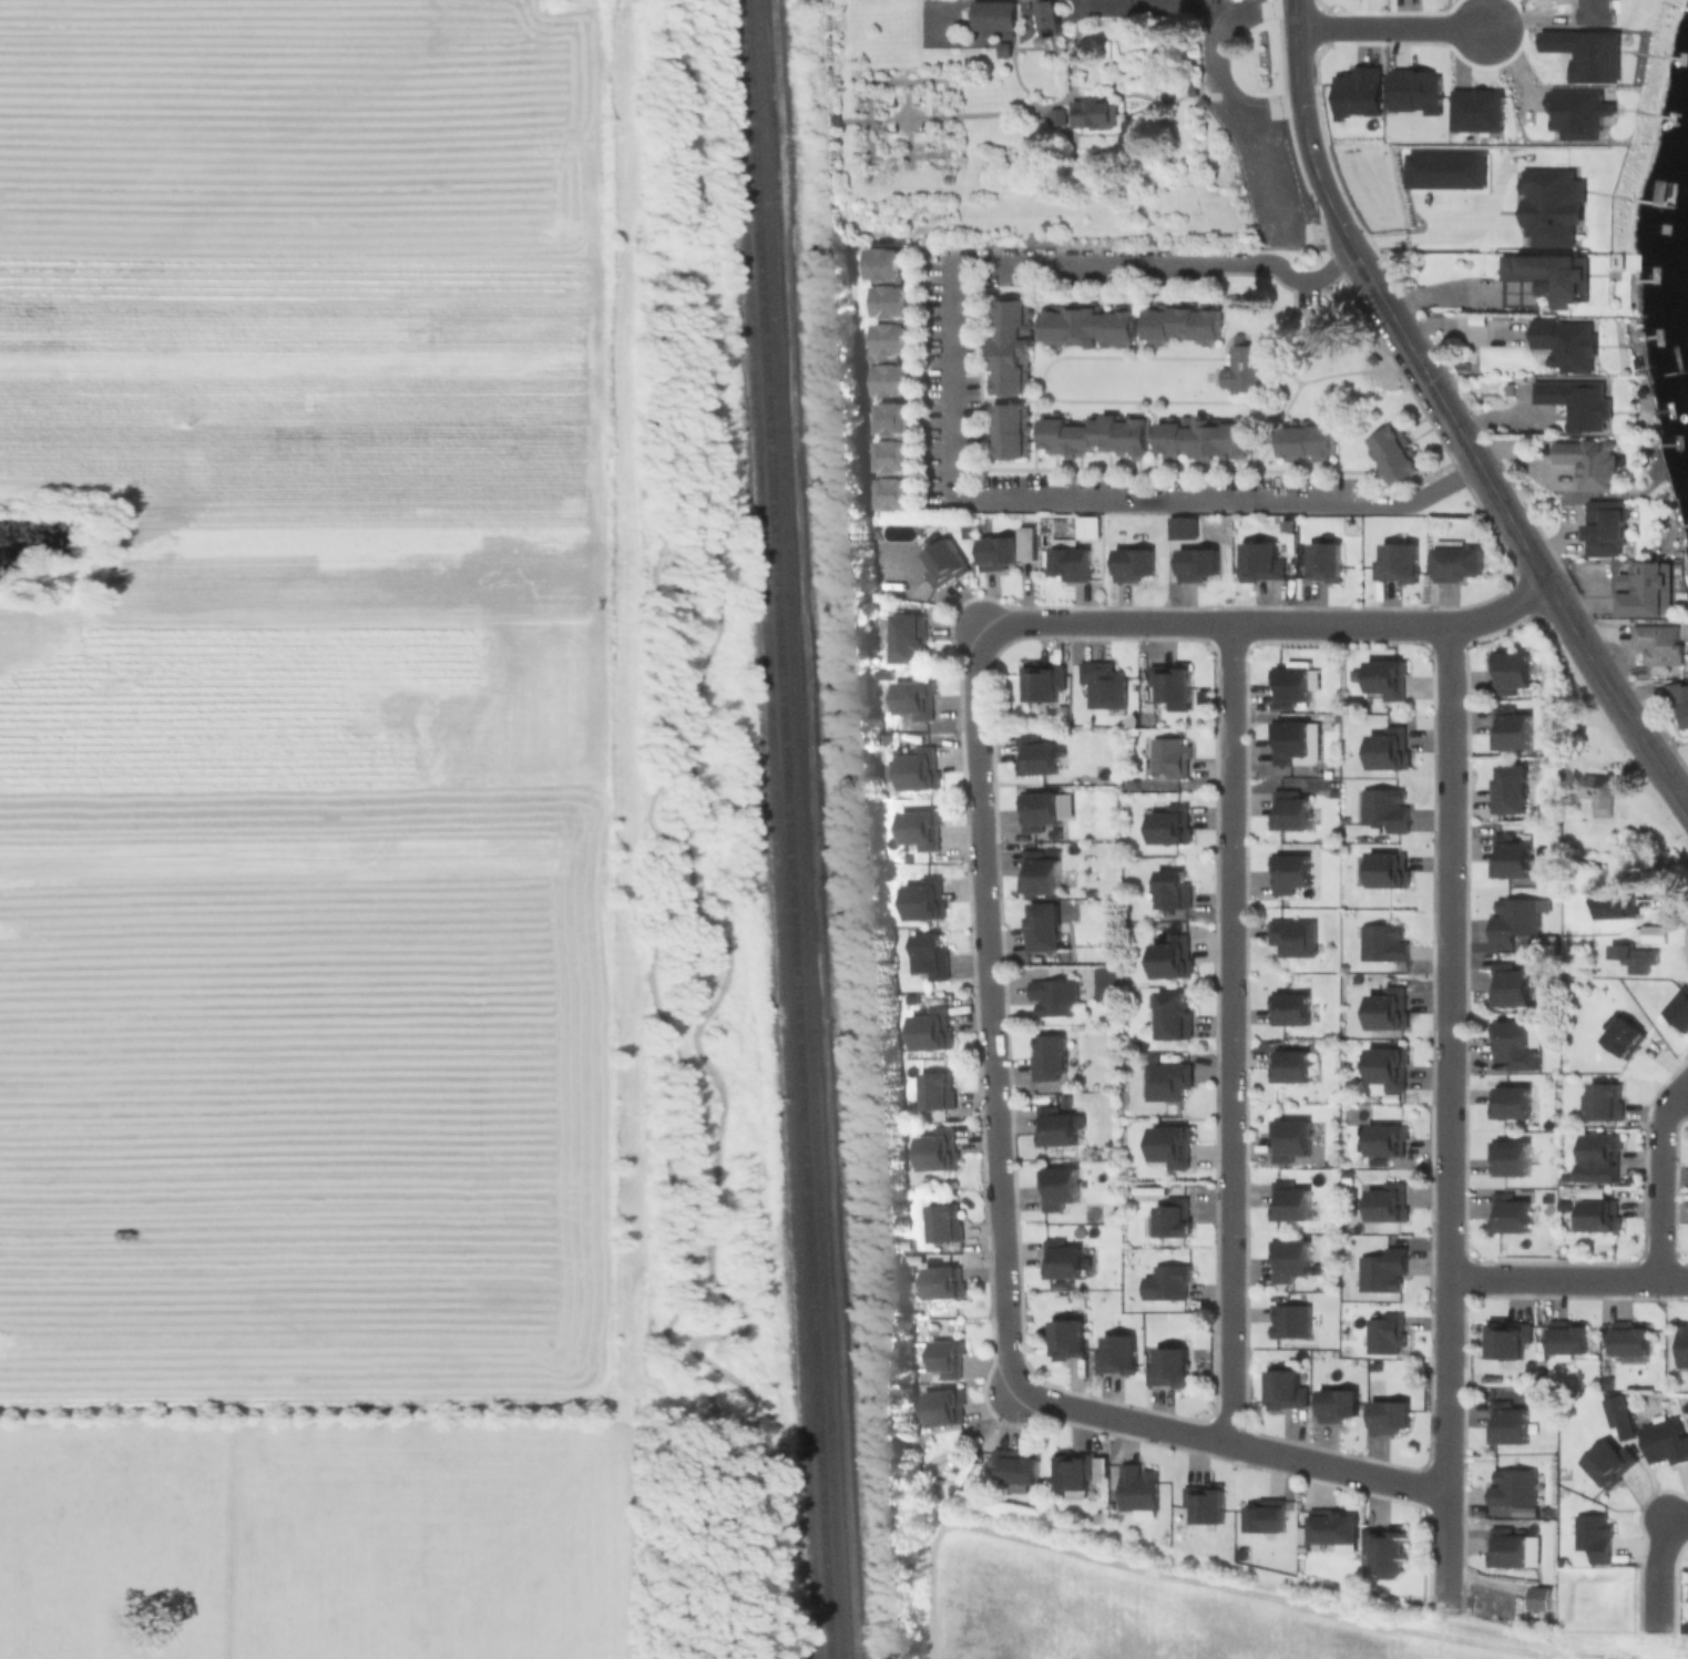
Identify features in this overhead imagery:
road: (1168, 6)
pier: (1682, 6)
building: (991, 17)
building: (1048, 20)
road: (1014, 27)
road: (1390, 31)
water tower: (1054, 43)
road: (1042, 49)
building: (1002, 50)
building: (1588, 55)
pier: (1672, 55)
pier: (1682, 58)
road: (1071, 65)
road: (1209, 65)
road: (1118, 79)
road: (1017, 81)
road: (1093, 93)
building: (1415, 93)
road: (1140, 94)
building: (1358, 94)
building: (1094, 112)
building: (1479, 114)
building: (1576, 114)
pier: (1660, 114)
building: (1054, 115)
pier: (1671, 115)
road: (940, 116)
road: (906, 117)
road: (1085, 129)
road: (906, 134)
road: (1063, 147)
road: (945, 151)
road: (1309, 154)
road: (1045, 160)
road: (1264, 162)
road: (1132, 166)
road: (1075, 170)
building: (1447, 173)
parking lot: (1277, 199)
pier: (1660, 202)
building: (1552, 207)
road: (855, 214)
road: (896, 219)
road: (937, 223)
road: (1472, 233)
road: (1168, 263)
building: (886, 265)
pier: (1671, 268)
building: (1549, 276)
road: (1446, 293)
building: (891, 304)
building: (1180, 321)
building: (1086, 325)
pier: (1659, 336)
pier: (1647, 337)
building: (1563, 342)
building: (889, 344)
building: (1007, 347)
building: (1372, 360)
building: (1241, 369)
pier: (1672, 371)
road: (951, 376)
park: (1125, 379)
building: (892, 382)
building: (1575, 403)
pier: (1669, 409)
pier: (1659, 410)
building: (893, 422)
building: (1007, 431)
building: (1094, 436)
building: (1201, 437)
building: (1306, 442)
pier: (1667, 442)
building: (1393, 457)
building: (894, 460)
road: (1474, 463)
building: (1586, 464)
building: (896, 495)
road: (1219, 502)
pier: (1679, 525)
building: (1603, 528)
building: (1180, 529)
building: (996, 553)
building: (1323, 560)
building: (1395, 561)
building: (942, 562)
building: (1258, 562)
building: (1454, 562)
building: (1070, 563)
building: (1132, 563)
building: (1195, 563)
pier: (1687, 586)
building: (1644, 590)
building: (903, 636)
building: (1657, 643)
building: (1507, 670)
building: (1385, 676)
building: (1042, 679)
building: (1169, 679)
building: (1102, 684)
building: (1287, 685)
building: (912, 697)
building: (1678, 698)
building: (1350, 702)
crop: (301, 705)
road: (1629, 719)
building: (1508, 727)
building: (1288, 739)
building: (1385, 747)
building: (1034, 755)
building: (1168, 757)
building: (917, 768)
building: (1507, 789)
building: (1596, 793)
building: (1382, 808)
building: (1036, 809)
building: (1288, 810)
building: (1169, 823)
building: (919, 828)
railway: (780, 829)
railway: (796, 829)
building: (1507, 857)
building: (1387, 869)
building: (1037, 872)
building: (1288, 872)
building: (1172, 889)
building: (922, 899)
building: (1512, 918)
building: (1041, 928)
building: (1650, 934)
building: (1292, 935)
building: (1382, 941)
road: (983, 942)
building: (1629, 953)
building: (929, 955)
building: (1170, 956)
building: (1104, 984)
building: (1508, 985)
building: (1052, 996)
building: (1387, 1006)
building: (1288, 1007)
building: (1678, 1013)
building: (1170, 1015)
building: (929, 1028)
road: (1228, 1033)
building: (1623, 1040)
building: (1512, 1044)
building: (1045, 1056)
building: (1289, 1065)
building: (1387, 1065)
building: (1164, 1081)
building: (934, 1089)
building: (1600, 1100)
building: (1508, 1102)
road: (1446, 1114)
building: (1053, 1127)
building: (1288, 1137)
building: (1384, 1139)
building: (1168, 1144)
building: (935, 1148)
building: (1597, 1156)
building: (1508, 1157)
road: (1655, 1179)
building: (1056, 1187)
building: (1288, 1201)
building: (1385, 1202)
building: (1506, 1215)
building: (1596, 1215)
building: (1172, 1218)
building: (941, 1222)
building: (1288, 1258)
building: (1061, 1259)
building: (1380, 1270)
road: (1567, 1280)
building: (941, 1281)
building: (1165, 1281)
building: (1289, 1320)
building: (1383, 1333)
building: (1565, 1337)
building: (1505, 1338)
building: (1628, 1338)
building: (1065, 1340)
building: (1681, 1343)
building: (1115, 1354)
building: (944, 1358)
building: (1168, 1368)
building: (1605, 1382)
building: (1283, 1389)
building: (1336, 1404)
building: (942, 1407)
building: (1616, 1414)
building: (1388, 1415)
building: (1505, 1424)
building: (1664, 1440)
building: (1608, 1463)
building: (1013, 1467)
building: (1072, 1469)
building: (1136, 1487)
building: (1511, 1487)
building: (1203, 1502)
building: (1264, 1515)
building: (1330, 1526)
crop: (307, 1532)
building: (1592, 1535)
building: (1505, 1548)
building: (1382, 1550)
road: (1655, 1559)
building: (1538, 1599)
crop: (1170, 1600)

